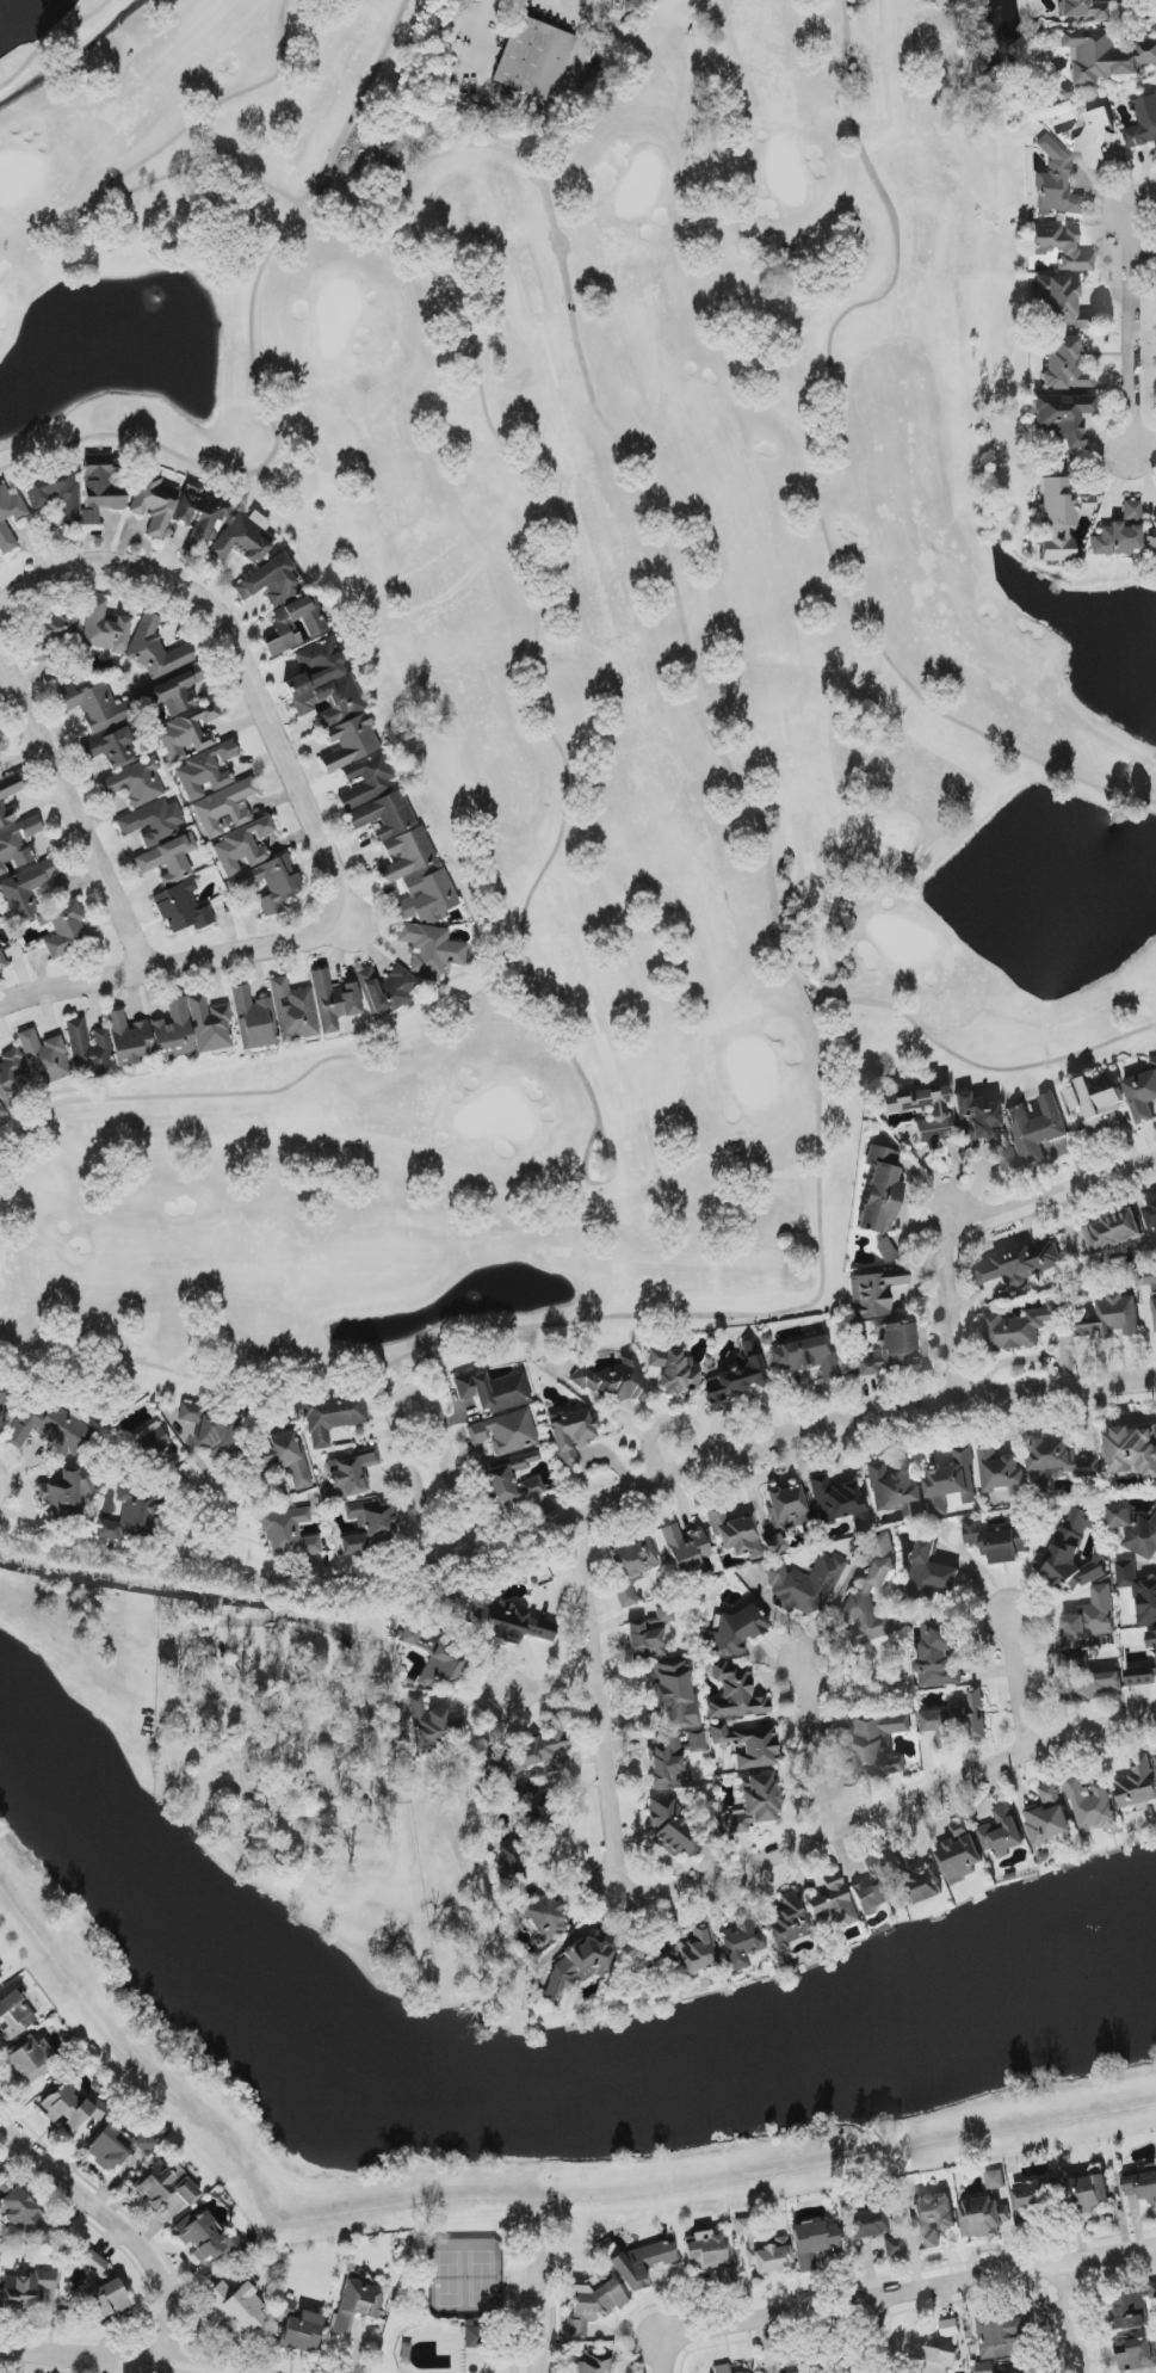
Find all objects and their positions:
building: (1088, 8)
building: (1105, 55)
building: (533, 58)
building: (1143, 123)
building: (1095, 140)
building: (384, 154)
building: (1057, 183)
road: (1127, 232)
building: (1061, 247)
building: (1061, 304)
building: (1155, 347)
building: (1064, 365)
road: (1130, 378)
building: (1062, 418)
building: (100, 488)
building: (55, 493)
building: (154, 505)
building: (8, 519)
building: (199, 519)
building: (1055, 520)
building: (1120, 534)
building: (243, 538)
building: (1151, 540)
building: (268, 583)
building: (315, 627)
building: (104, 628)
building: (51, 631)
building: (155, 649)
park: (575, 653)
building: (175, 692)
building: (332, 703)
building: (95, 705)
building: (188, 732)
building: (1, 747)
building: (111, 748)
building: (367, 779)
building: (135, 783)
building: (216, 791)
building: (4, 809)
building: (153, 821)
building: (18, 844)
building: (245, 846)
building: (407, 858)
building: (168, 859)
building: (271, 883)
building: (26, 888)
building: (183, 908)
road: (350, 910)
building: (64, 927)
building: (431, 949)
building: (2, 961)
road: (72, 984)
building: (384, 990)
building: (333, 1000)
building: (292, 1011)
building: (253, 1019)
building: (209, 1024)
building: (173, 1031)
building: (128, 1040)
building: (89, 1049)
building: (44, 1058)
building: (12, 1075)
building: (1143, 1096)
building: (1095, 1103)
building: (2, 1111)
building: (935, 1116)
building: (983, 1127)
building: (1037, 1128)
building: (879, 1191)
building: (1151, 1214)
road: (972, 1224)
building: (1112, 1232)
building: (885, 1250)
building: (1021, 1264)
building: (1149, 1278)
building: (873, 1292)
building: (1154, 1309)
building: (1111, 1318)
building: (1021, 1327)
building: (892, 1350)
building: (805, 1357)
building: (673, 1370)
building: (734, 1379)
building: (612, 1381)
road: (409, 1391)
building: (493, 1391)
building: (1, 1404)
building: (333, 1417)
building: (48, 1428)
building: (212, 1430)
building: (505, 1432)
building: (571, 1435)
building: (149, 1442)
building: (1131, 1453)
building: (285, 1457)
building: (523, 1461)
building: (1058, 1462)
building: (1001, 1472)
building: (351, 1473)
road: (0, 1477)
building: (951, 1483)
road: (214, 1486)
building: (508, 1487)
building: (895, 1491)
building: (66, 1493)
building: (840, 1503)
building: (787, 1506)
building: (131, 1512)
road: (579, 1515)
building: (1120, 1517)
building: (367, 1527)
building: (735, 1533)
building: (289, 1534)
building: (1143, 1539)
building: (775, 1542)
building: (684, 1548)
building: (1072, 1553)
building: (631, 1566)
building: (931, 1572)
building: (805, 1586)
building: (868, 1588)
building: (1138, 1591)
building: (661, 1617)
building: (1089, 1620)
building: (508, 1625)
building: (731, 1633)
building: (410, 1635)
building: (1151, 1640)
building: (644, 1641)
building: (940, 1654)
building: (441, 1669)
building: (1140, 1677)
building: (1084, 1679)
road: (1018, 1684)
road: (552, 1689)
building: (735, 1694)
building: (675, 1695)
building: (957, 1721)
building: (428, 1726)
building: (748, 1744)
building: (879, 1744)
road: (816, 1750)
building: (528, 1751)
building: (1155, 1752)
building: (673, 1758)
park: (297, 1774)
building: (1137, 1785)
building: (753, 1804)
building: (1090, 1804)
building: (1047, 1817)
building: (678, 1826)
building: (1002, 1832)
building: (525, 1835)
building: (960, 1854)
building: (914, 1879)
road: (710, 1881)
building: (873, 1887)
building: (832, 1905)
building: (540, 1917)
building: (789, 1921)
building: (741, 1941)
building: (697, 1950)
building: (576, 1966)
building: (0, 1972)
building: (14, 2014)
building: (29, 2058)
building: (70, 2107)
building: (116, 2146)
building: (995, 2181)
building: (1140, 2183)
building: (165, 2186)
building: (1089, 2193)
building: (1033, 2200)
building: (21, 2213)
building: (932, 2218)
road: (116, 2219)
building: (981, 2219)
building: (867, 2224)
building: (206, 2238)
building: (812, 2243)
building: (894, 2246)
building: (706, 2250)
building: (764, 2250)
building: (93, 2262)
building: (642, 2264)
building: (725, 2275)
building: (25, 2288)
road: (890, 2291)
building: (109, 2299)
building: (593, 2301)
park: (459, 2303)
road: (539, 2304)
building: (357, 2305)
building: (237, 2307)
building: (285, 2307)
building: (1135, 2309)
road: (1072, 2317)
parking lot: (521, 2320)
building: (302, 2332)
road: (857, 2336)
building: (1003, 2336)
building: (475, 2337)
building: (1135, 2355)
road: (99, 2357)
building: (934, 2361)
building: (593, 2363)
building: (984, 2367)
building: (721, 2368)
building: (802, 2368)
building: (747, 2372)

